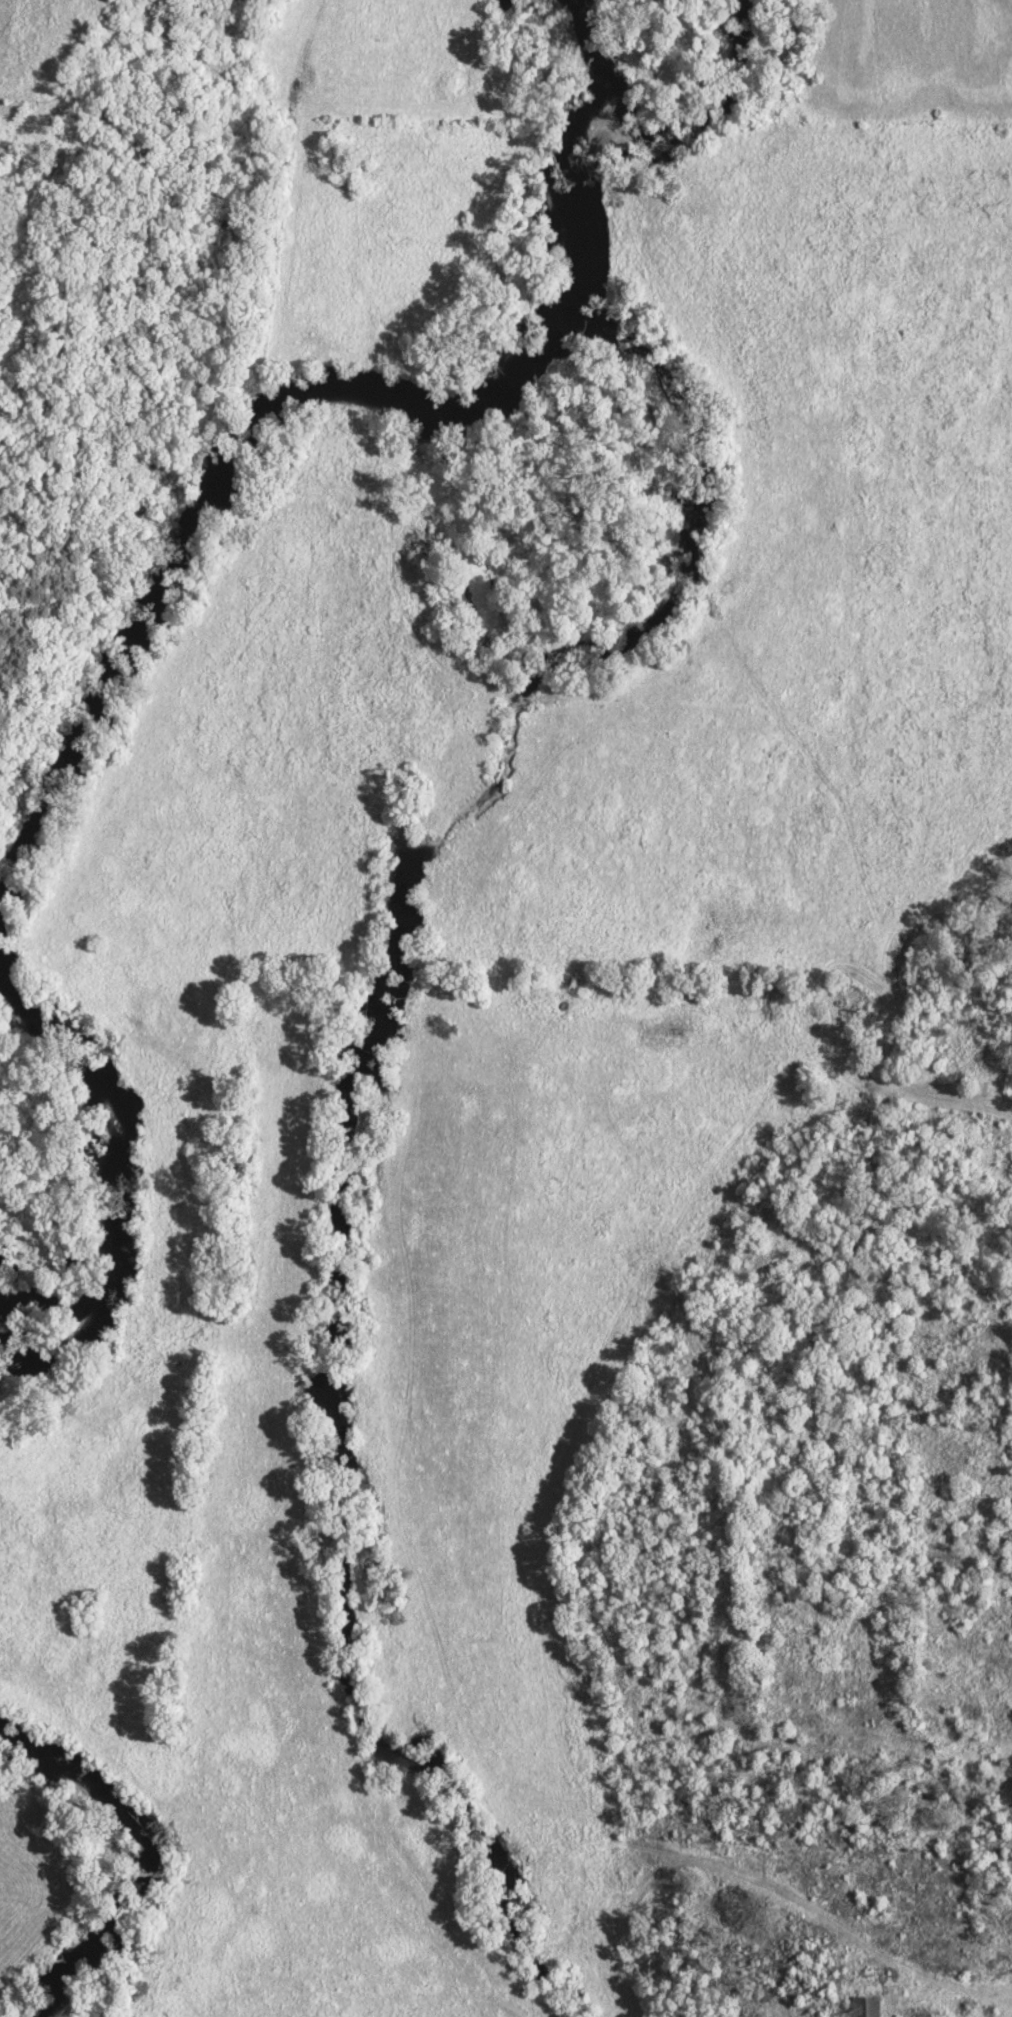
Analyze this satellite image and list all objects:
river: (341, 401)
river: (111, 1153)
river: (92, 1871)
building: (862, 2007)

